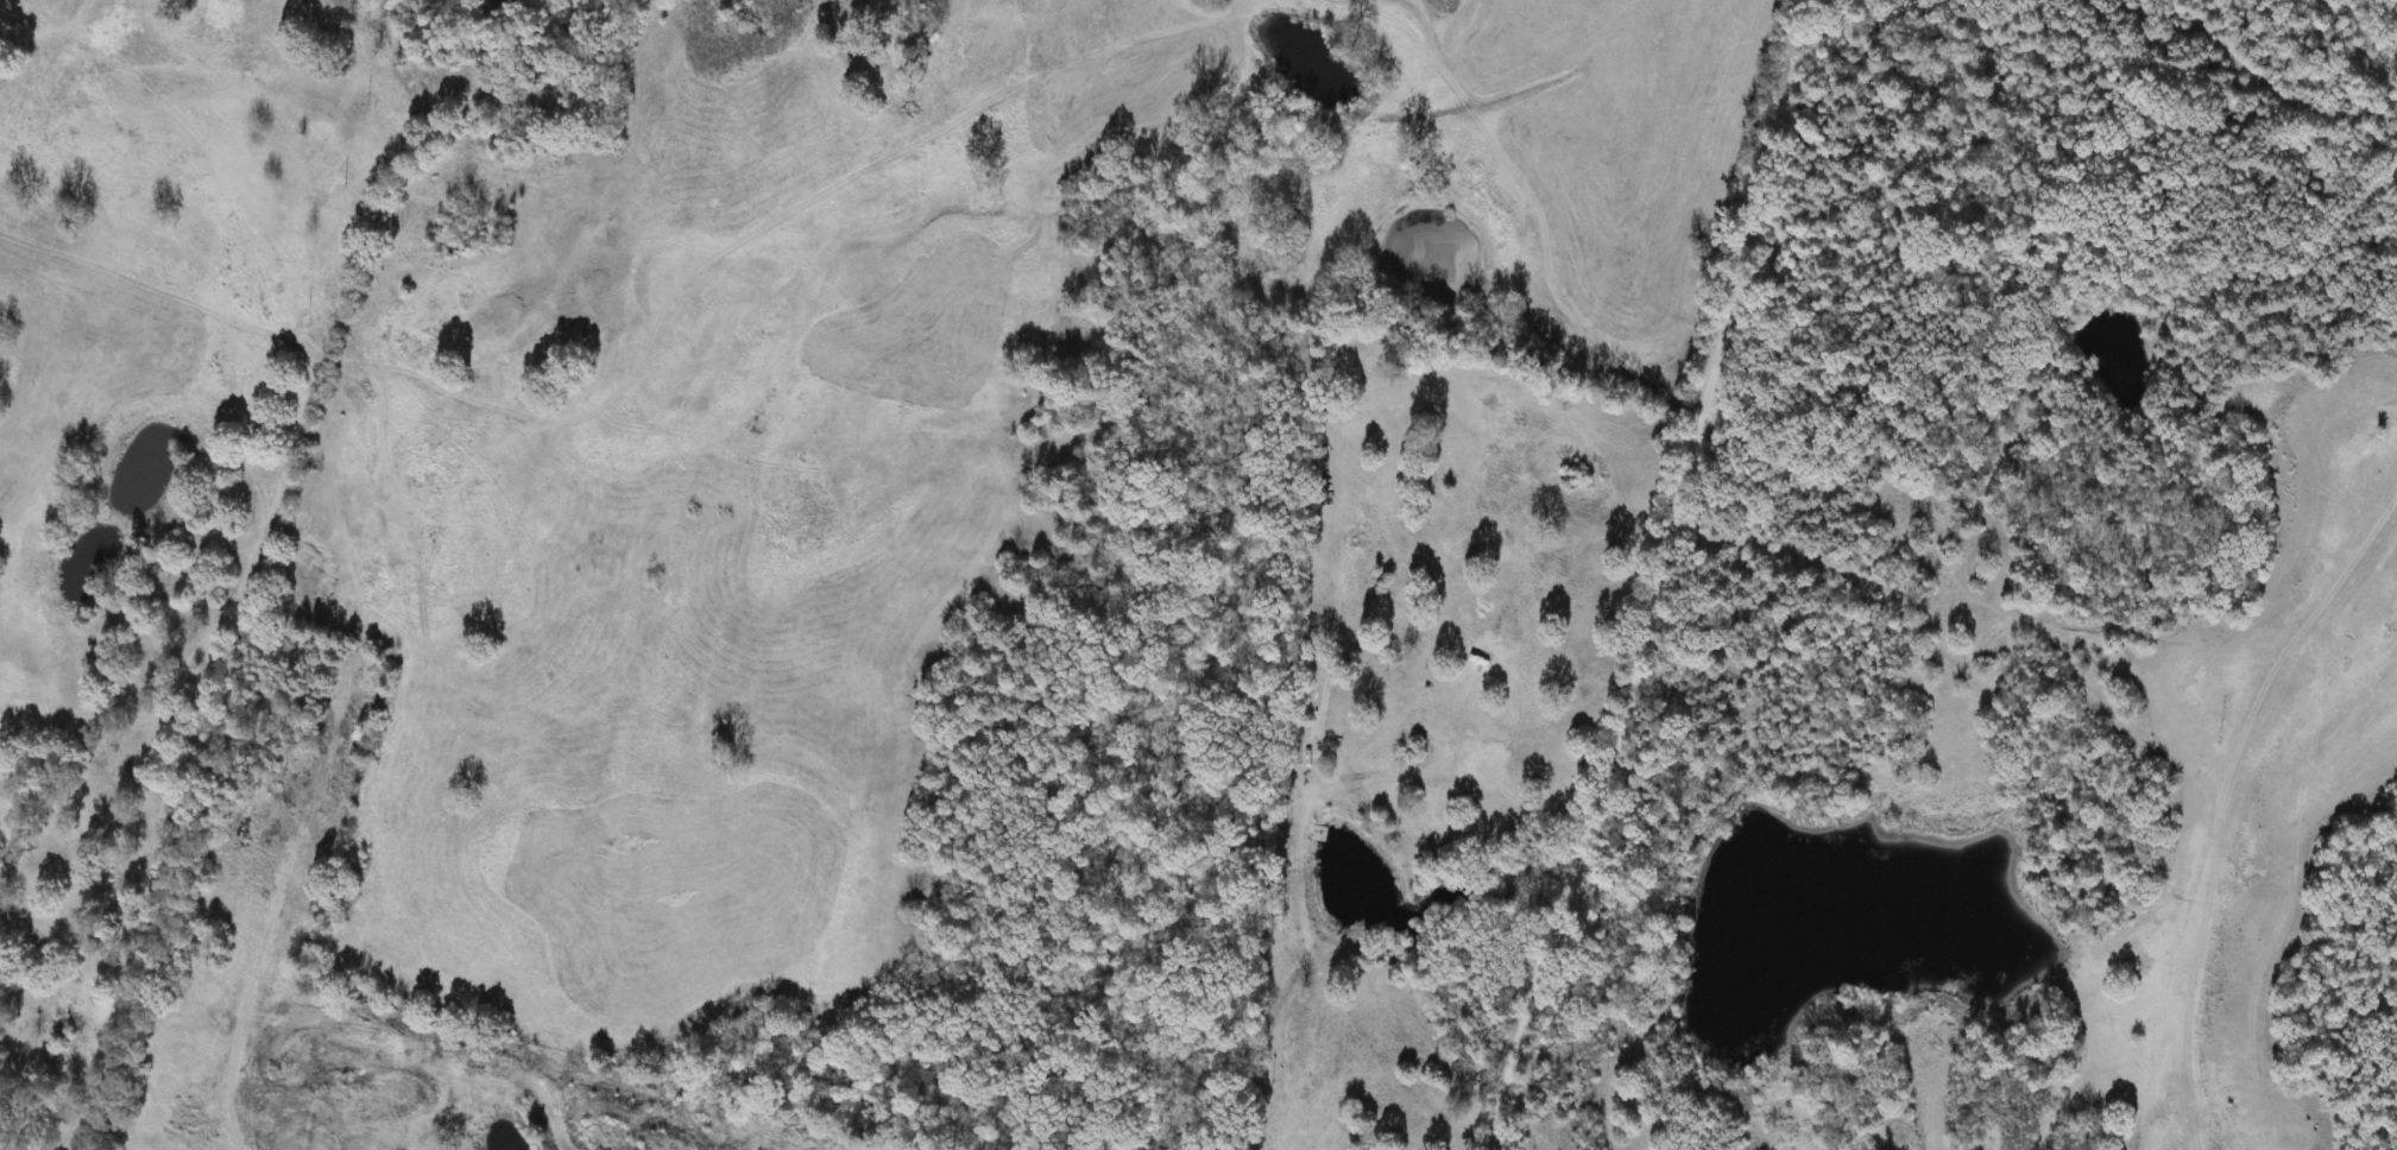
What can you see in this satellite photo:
road: (1658, 575)

